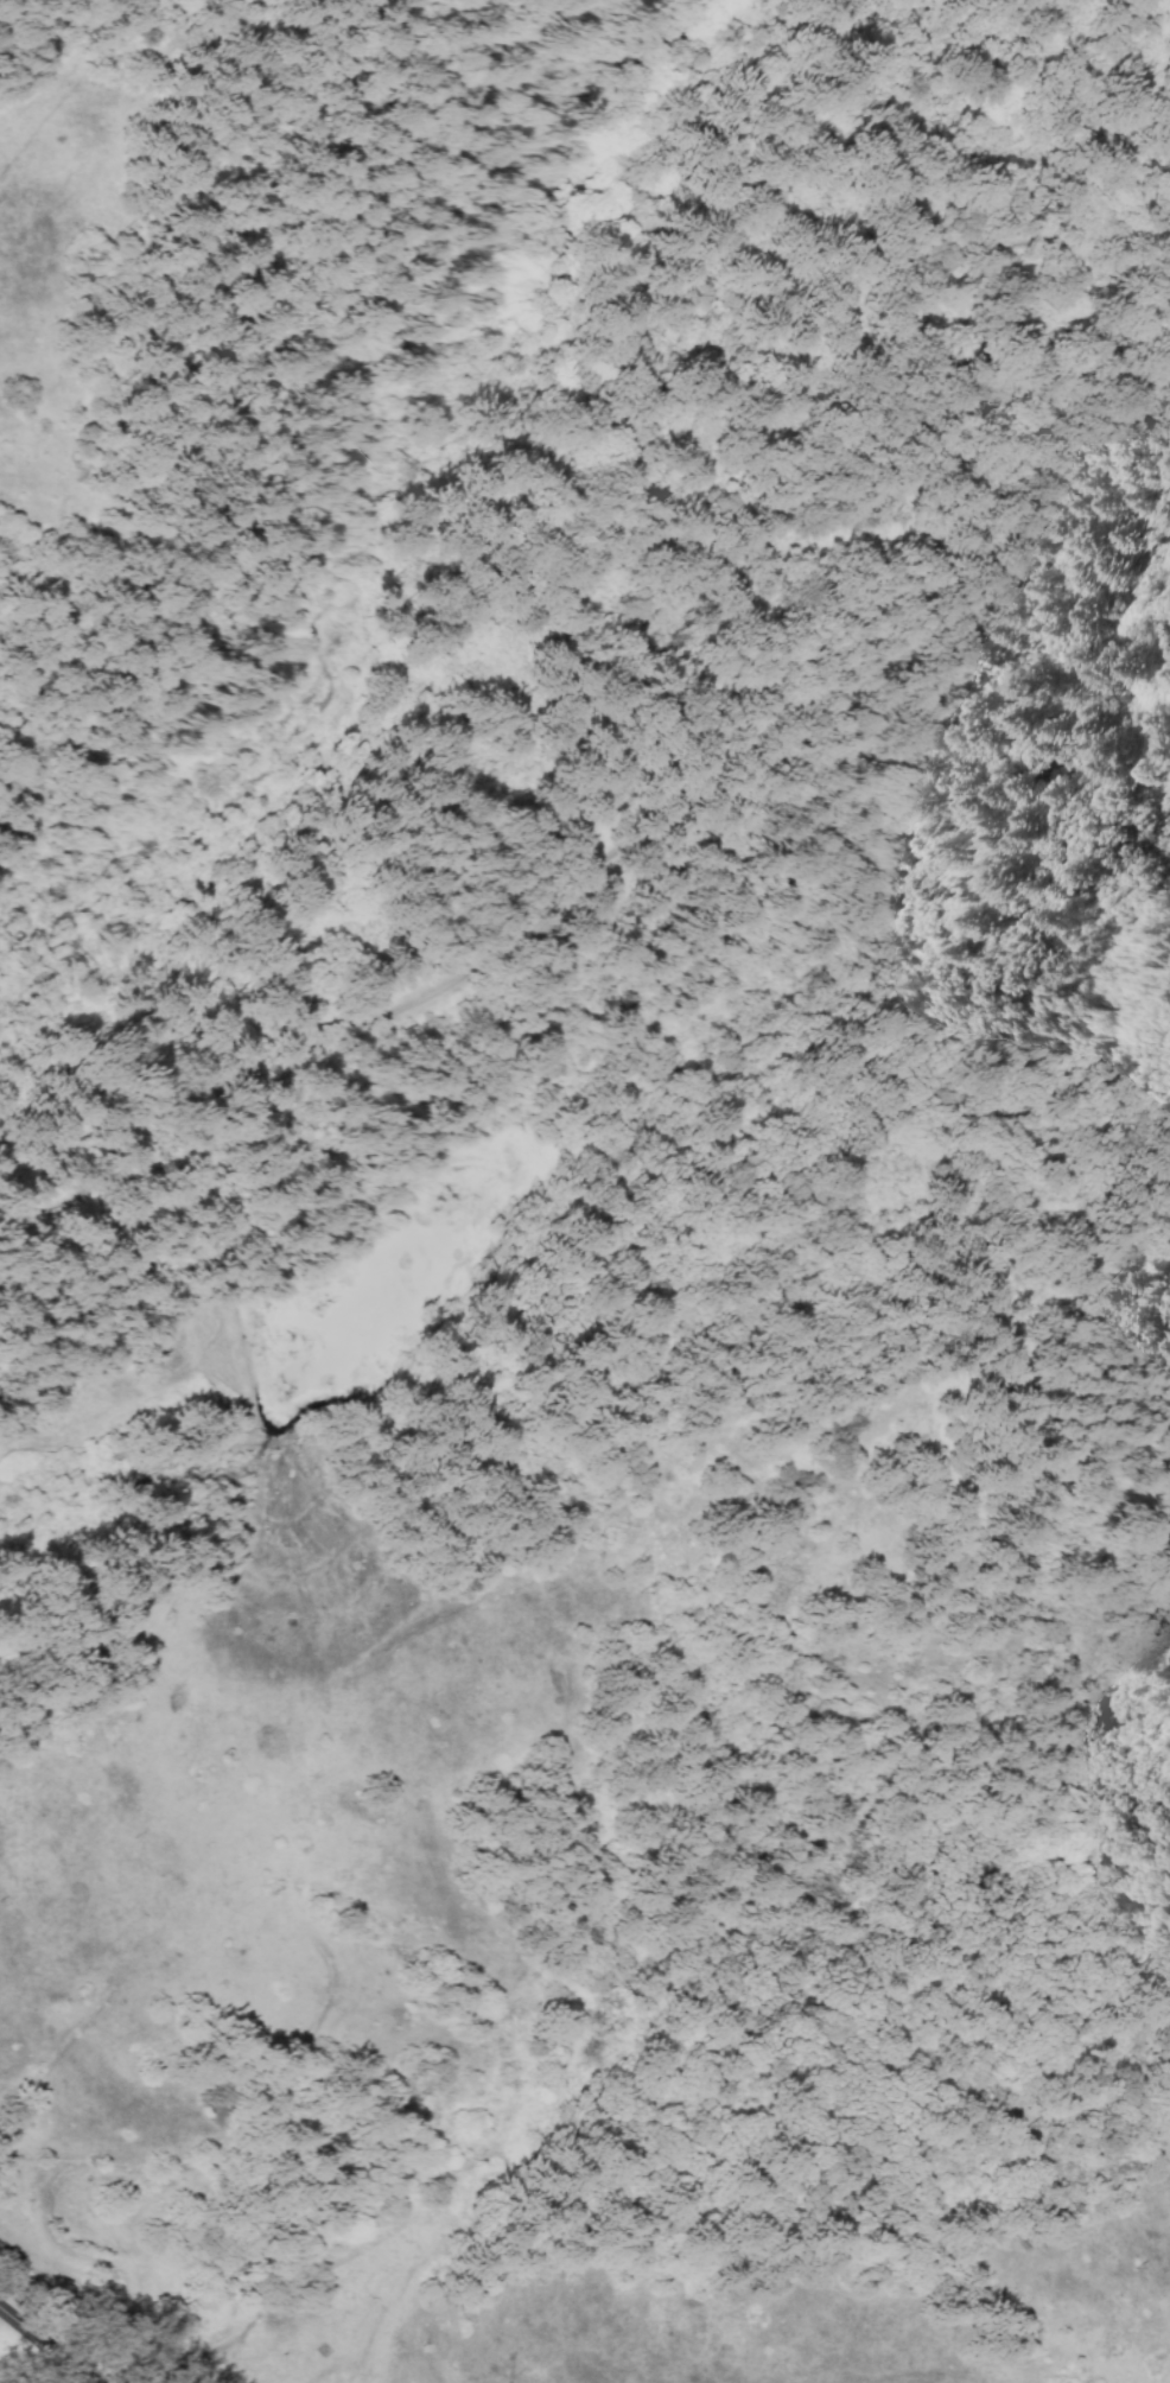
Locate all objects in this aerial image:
road: (74, 84)
road: (704, 781)
road: (45, 2345)

